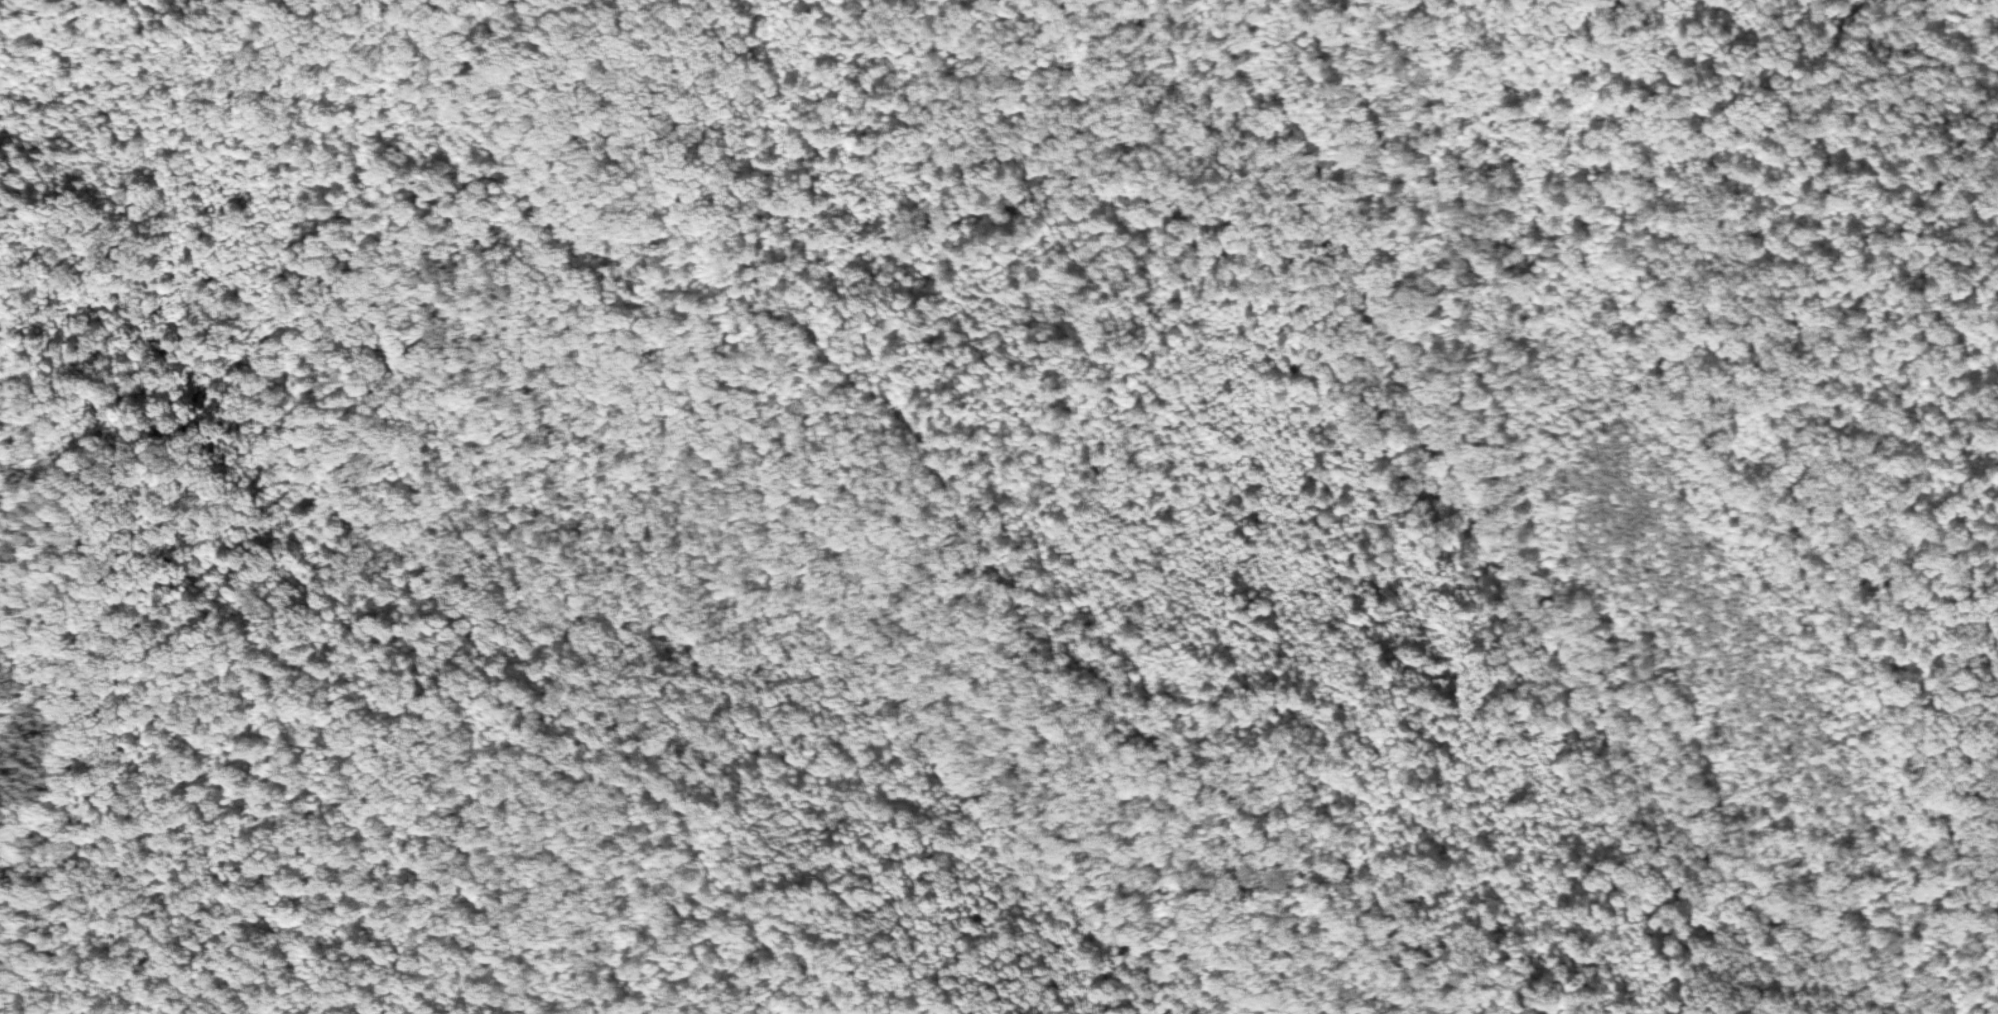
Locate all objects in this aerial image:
road: (1506, 572)
road: (661, 815)

